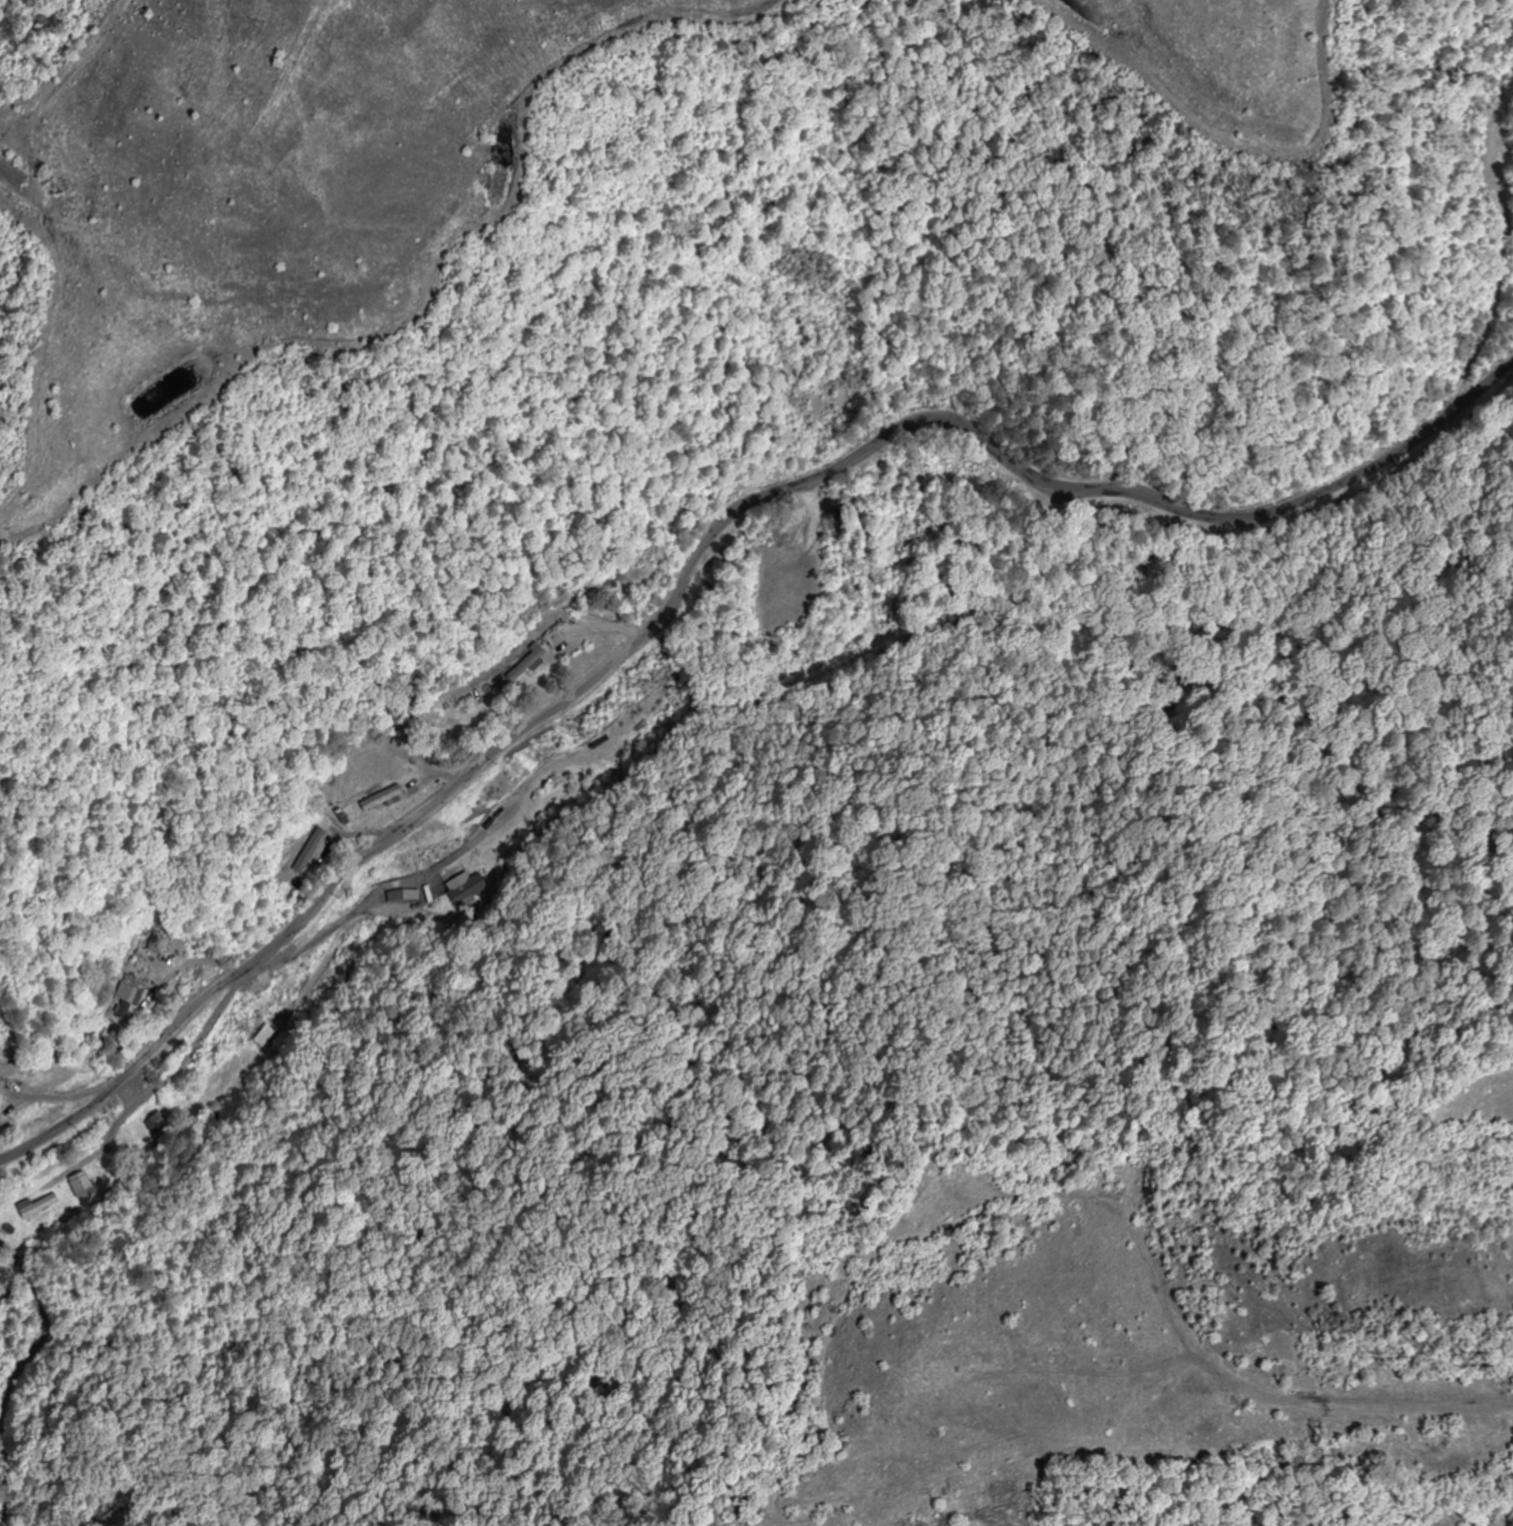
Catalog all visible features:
road: (1510, 369)
road: (707, 531)
building: (518, 662)
building: (304, 851)
building: (467, 889)
building: (400, 895)
building: (120, 1000)
building: (265, 1036)
building: (158, 1121)
building: (82, 1184)
building: (34, 1205)

